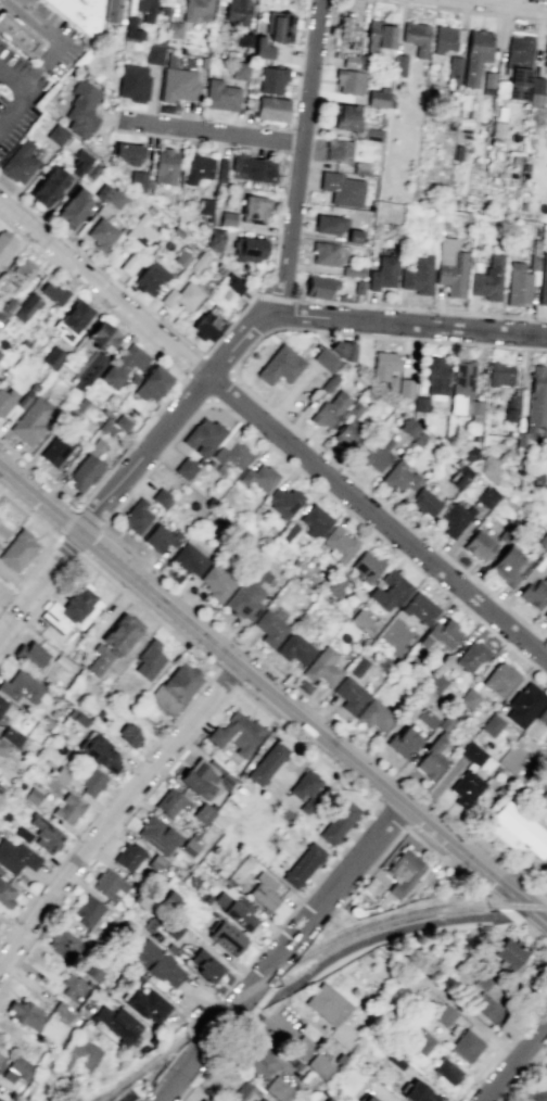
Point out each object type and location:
road: (514, 3)
building: (145, 9)
building: (195, 10)
road: (465, 10)
building: (111, 11)
building: (236, 12)
building: (79, 13)
building: (280, 26)
building: (345, 27)
building: (132, 29)
building: (173, 29)
building: (16, 35)
building: (379, 35)
building: (416, 37)
road: (58, 38)
building: (447, 38)
building: (243, 39)
parking lot: (61, 48)
building: (260, 48)
road: (301, 48)
building: (519, 49)
building: (154, 54)
building: (545, 54)
building: (475, 55)
building: (169, 60)
building: (349, 62)
building: (398, 65)
building: (239, 69)
building: (454, 69)
road: (15, 79)
building: (269, 79)
building: (349, 80)
building: (131, 84)
building: (177, 85)
building: (512, 85)
building: (535, 91)
building: (220, 96)
building: (377, 99)
building: (81, 107)
building: (271, 109)
road: (15, 111)
building: (343, 116)
road: (209, 131)
building: (55, 135)
building: (338, 150)
building: (125, 153)
road: (298, 157)
building: (17, 162)
building: (78, 162)
building: (164, 166)
building: (196, 167)
building: (253, 168)
building: (90, 170)
building: (137, 180)
building: (48, 186)
building: (341, 189)
building: (101, 193)
building: (115, 199)
building: (205, 206)
building: (72, 207)
building: (254, 207)
building: (227, 218)
building: (329, 224)
building: (101, 233)
building: (142, 233)
building: (214, 238)
building: (5, 243)
building: (249, 249)
building: (325, 253)
building: (129, 264)
building: (450, 267)
road: (101, 269)
building: (352, 270)
building: (22, 273)
building: (382, 273)
road: (293, 276)
building: (417, 276)
building: (150, 278)
building: (487, 279)
building: (543, 279)
building: (518, 283)
building: (234, 284)
building: (319, 287)
road: (103, 289)
building: (52, 292)
building: (182, 296)
road: (287, 298)
building: (7, 306)
building: (25, 307)
building: (72, 320)
road: (407, 321)
road: (228, 324)
building: (205, 327)
building: (102, 336)
road: (380, 336)
building: (341, 349)
road: (160, 351)
building: (0, 354)
building: (52, 357)
building: (130, 358)
building: (326, 359)
road: (195, 365)
building: (280, 365)
building: (385, 368)
building: (89, 371)
road: (231, 374)
building: (499, 374)
building: (435, 376)
building: (110, 377)
building: (152, 383)
road: (222, 388)
building: (405, 388)
building: (462, 388)
road: (209, 398)
building: (5, 401)
building: (329, 409)
road: (171, 419)
building: (30, 420)
building: (122, 422)
building: (348, 427)
building: (408, 427)
building: (203, 436)
building: (94, 446)
building: (56, 448)
building: (231, 453)
building: (376, 453)
road: (154, 463)
building: (186, 468)
building: (487, 468)
building: (84, 473)
road: (39, 476)
building: (257, 477)
building: (399, 477)
building: (537, 480)
building: (158, 496)
building: (485, 496)
road: (39, 499)
building: (283, 502)
building: (424, 503)
road: (389, 509)
road: (27, 512)
building: (136, 517)
road: (377, 518)
building: (455, 518)
building: (315, 520)
road: (67, 521)
building: (160, 537)
road: (380, 537)
building: (338, 543)
building: (479, 545)
building: (17, 550)
building: (546, 553)
building: (189, 559)
building: (508, 566)
building: (366, 567)
road: (29, 577)
building: (216, 583)
road: (38, 584)
building: (335, 584)
building: (389, 591)
building: (534, 593)
building: (249, 594)
road: (38, 607)
building: (419, 608)
building: (69, 611)
road: (147, 612)
building: (545, 613)
building: (359, 619)
building: (269, 628)
building: (122, 633)
building: (441, 634)
building: (294, 648)
building: (29, 655)
building: (471, 656)
building: (99, 659)
building: (148, 659)
building: (321, 668)
road: (225, 678)
building: (499, 679)
building: (181, 682)
building: (435, 682)
building: (20, 687)
building: (349, 694)
building: (468, 698)
building: (524, 704)
building: (2, 705)
road: (323, 711)
building: (374, 716)
building: (543, 716)
building: (77, 717)
building: (427, 718)
building: (49, 723)
road: (305, 724)
building: (491, 724)
building: (129, 734)
building: (237, 734)
building: (11, 736)
building: (402, 742)
road: (307, 745)
building: (2, 747)
building: (99, 752)
building: (432, 757)
building: (476, 757)
building: (267, 763)
building: (60, 774)
building: (204, 777)
building: (91, 782)
building: (466, 787)
building: (306, 788)
building: (31, 796)
building: (170, 802)
road: (105, 803)
building: (67, 808)
building: (202, 813)
building: (282, 813)
road: (115, 815)
building: (3, 817)
road: (395, 818)
building: (338, 823)
building: (517, 831)
road: (113, 832)
building: (22, 834)
building: (46, 834)
building: (156, 834)
building: (16, 857)
building: (128, 857)
building: (156, 862)
building: (302, 865)
building: (403, 876)
building: (107, 884)
road: (479, 890)
building: (264, 891)
building: (5, 895)
road: (328, 897)
road: (300, 898)
building: (144, 899)
building: (169, 900)
building: (87, 911)
building: (234, 911)
road: (527, 918)
road: (540, 918)
building: (148, 924)
building: (171, 927)
building: (154, 936)
road: (377, 936)
building: (224, 937)
building: (62, 942)
building: (169, 948)
building: (509, 951)
railway: (304, 956)
building: (155, 963)
building: (206, 965)
building: (89, 971)
building: (73, 985)
road: (268, 990)
road: (259, 991)
building: (482, 1001)
building: (144, 1003)
building: (331, 1013)
building: (25, 1014)
building: (443, 1014)
parking lot: (288, 1016)
building: (55, 1022)
building: (118, 1023)
road: (238, 1024)
building: (423, 1042)
road: (207, 1045)
building: (465, 1045)
road: (501, 1047)
building: (300, 1048)
building: (78, 1053)
road: (52, 1058)
building: (1, 1059)
road: (513, 1060)
building: (257, 1061)
building: (395, 1061)
building: (318, 1065)
road: (532, 1067)
building: (16, 1068)
building: (544, 1070)
building: (445, 1071)
road: (196, 1076)
building: (277, 1089)
building: (244, 1091)
road: (129, 1092)
building: (416, 1092)
building: (531, 1092)
road: (150, 1096)
building: (368, 1098)
building: (328, 1099)
building: (0, 1100)
building: (202, 1100)

